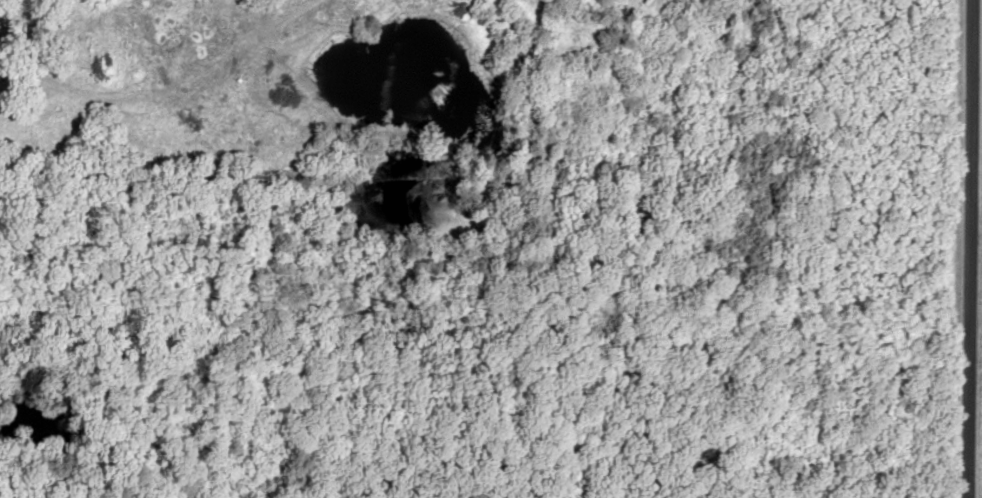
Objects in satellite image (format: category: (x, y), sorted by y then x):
building: (620, 28)
road: (967, 248)

